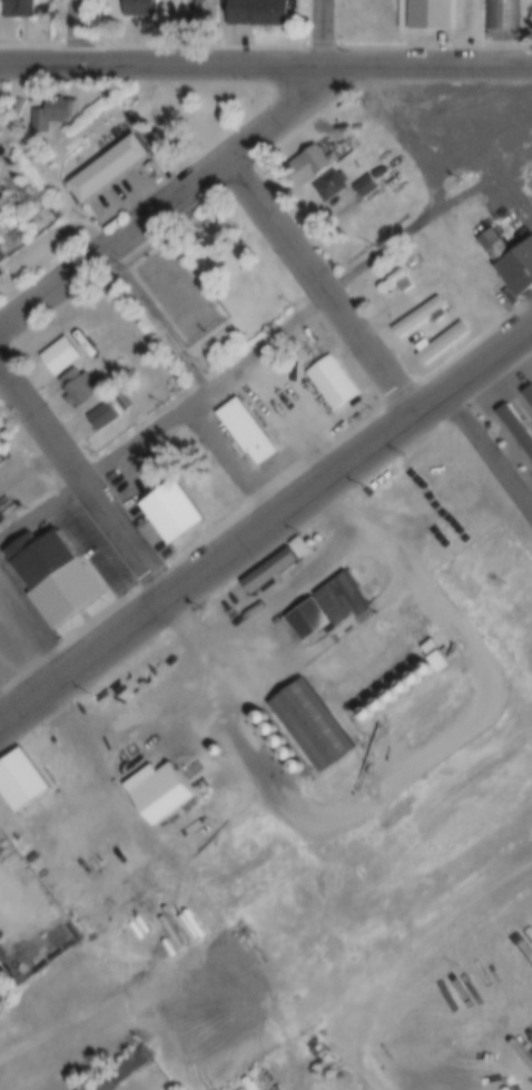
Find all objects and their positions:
building: (136, 8)
building: (13, 10)
building: (200, 10)
building: (256, 12)
building: (500, 13)
building: (427, 17)
road: (88, 33)
road: (333, 33)
road: (266, 67)
building: (62, 109)
building: (39, 122)
building: (364, 124)
building: (307, 164)
building: (104, 170)
building: (326, 184)
building: (362, 184)
road: (434, 186)
road: (174, 208)
building: (1, 254)
building: (1, 261)
building: (508, 263)
building: (1, 273)
building: (390, 275)
park: (213, 277)
park: (173, 285)
road: (325, 287)
building: (415, 316)
building: (78, 317)
building: (436, 343)
road: (265, 346)
building: (49, 357)
building: (329, 382)
building: (76, 385)
building: (526, 399)
building: (100, 413)
building: (524, 418)
building: (515, 430)
building: (243, 431)
building: (504, 456)
building: (479, 465)
building: (20, 483)
road: (86, 484)
building: (529, 507)
building: (169, 513)
building: (495, 517)
road: (267, 532)
building: (296, 547)
building: (266, 569)
building: (51, 573)
building: (342, 605)
building: (305, 620)
building: (437, 659)
building: (428, 671)
silo: (428, 671)
building: (417, 680)
silo: (417, 680)
building: (405, 689)
silo: (405, 689)
building: (393, 698)
silo: (393, 698)
building: (381, 707)
silo: (381, 707)
building: (259, 715)
silo: (259, 715)
building: (368, 716)
silo: (368, 716)
building: (307, 726)
building: (267, 727)
silo: (267, 727)
building: (276, 739)
silo: (276, 739)
building: (35, 742)
building: (217, 748)
silo: (217, 748)
building: (285, 752)
silo: (285, 752)
building: (294, 765)
silo: (294, 765)
building: (56, 772)
building: (18, 780)
building: (155, 792)
building: (118, 1071)

